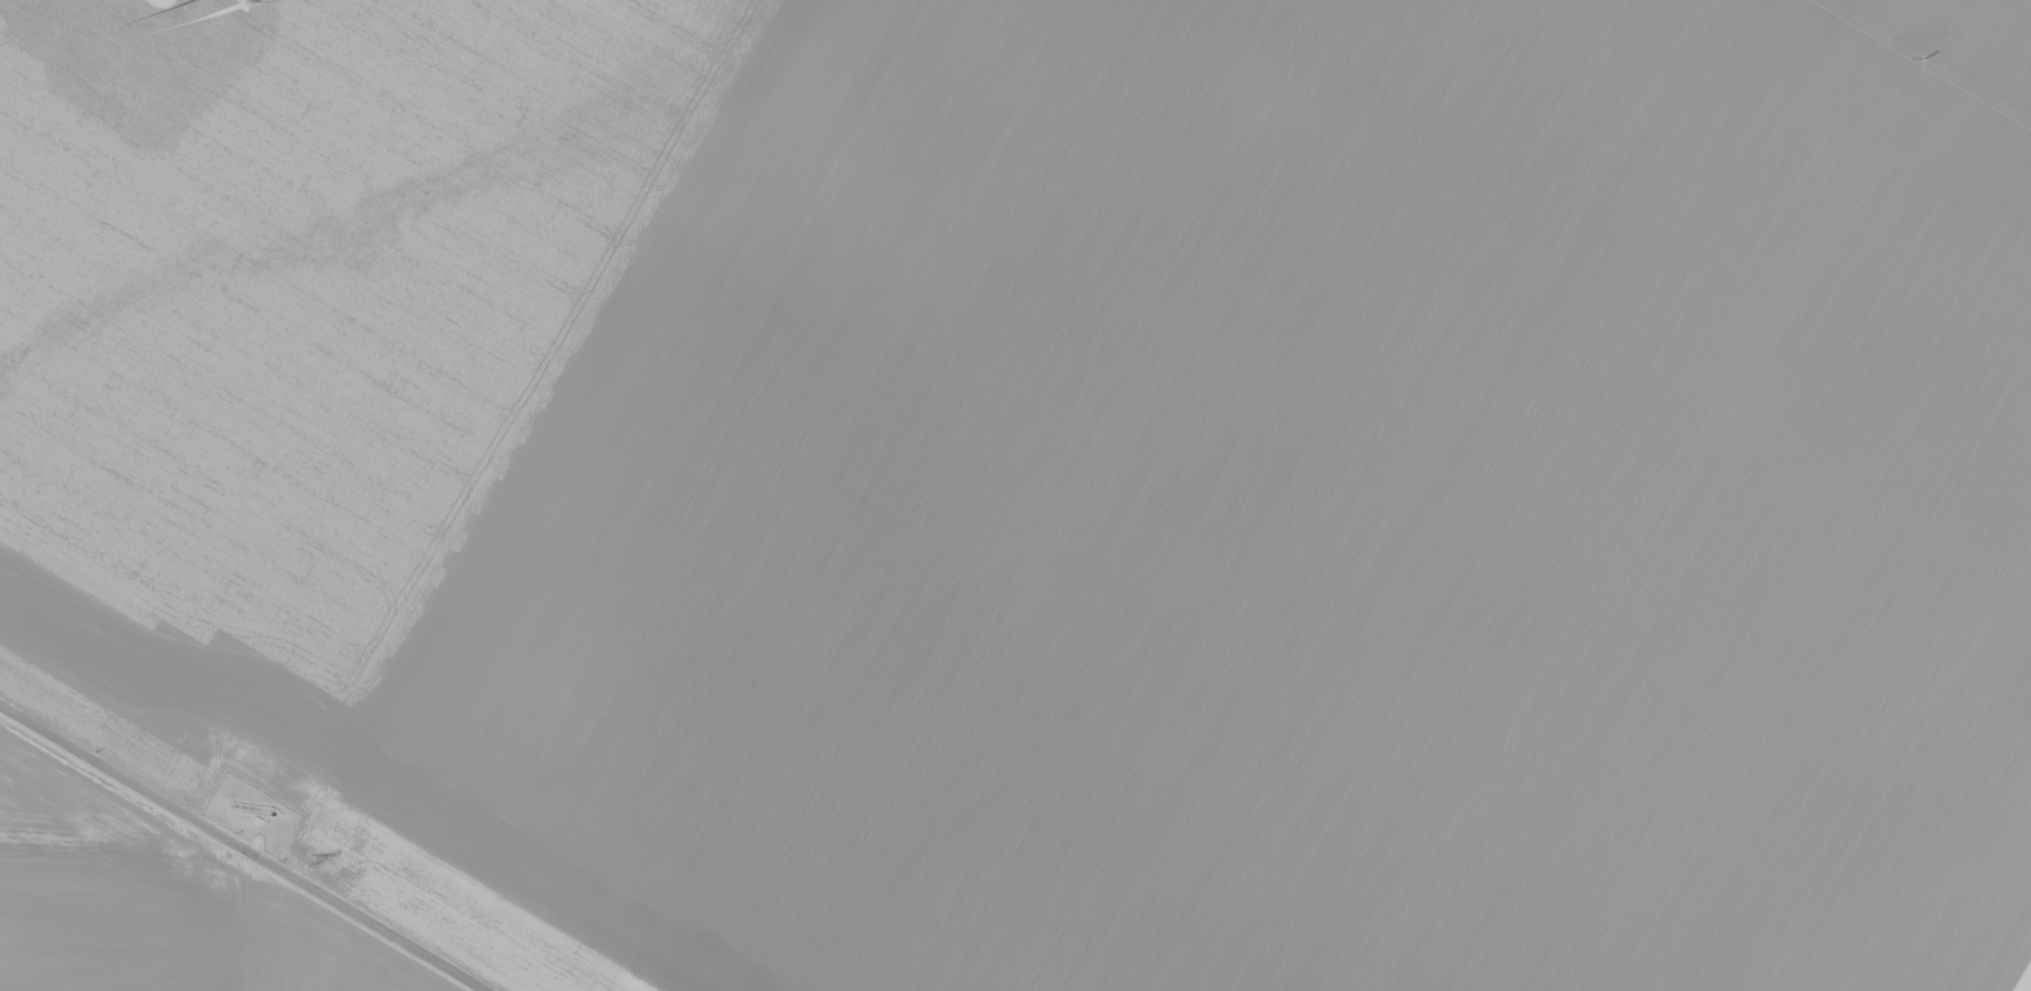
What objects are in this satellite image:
road: (235, 842)
power tower: (304, 860)

